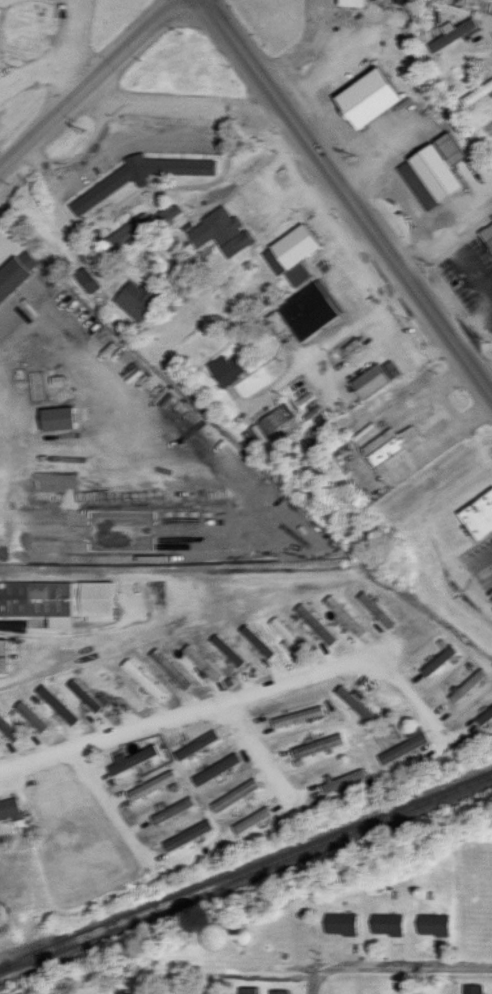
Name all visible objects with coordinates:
building: (402, 1)
building: (351, 3)
road: (480, 19)
building: (451, 32)
road: (40, 74)
road: (90, 82)
building: (476, 93)
building: (362, 98)
road: (194, 111)
building: (431, 171)
building: (137, 176)
road: (349, 200)
building: (166, 213)
building: (218, 232)
building: (487, 234)
road: (332, 243)
road: (450, 244)
building: (291, 253)
building: (14, 271)
building: (84, 280)
building: (137, 299)
building: (304, 311)
building: (223, 370)
building: (371, 379)
building: (270, 422)
road: (431, 445)
building: (382, 446)
building: (476, 515)
road: (292, 521)
building: (59, 601)
building: (345, 616)
building: (315, 624)
building: (288, 634)
building: (257, 641)
building: (227, 649)
building: (5, 656)
building: (201, 662)
building: (436, 662)
building: (171, 668)
building: (143, 678)
building: (467, 686)
building: (87, 695)
road: (241, 697)
building: (57, 704)
building: (31, 715)
building: (296, 716)
building: (484, 716)
building: (8, 729)
building: (195, 745)
building: (404, 745)
building: (306, 749)
road: (263, 757)
building: (133, 759)
building: (214, 769)
building: (152, 785)
building: (234, 795)
road: (112, 807)
building: (8, 808)
building: (172, 810)
building: (250, 821)
building: (187, 835)
railway: (246, 870)
building: (338, 923)
building: (386, 923)
building: (432, 924)
water tower: (241, 937)
railway: (2, 968)
road: (373, 970)
road: (314, 982)
building: (473, 989)
building: (246, 990)
building: (277, 991)

